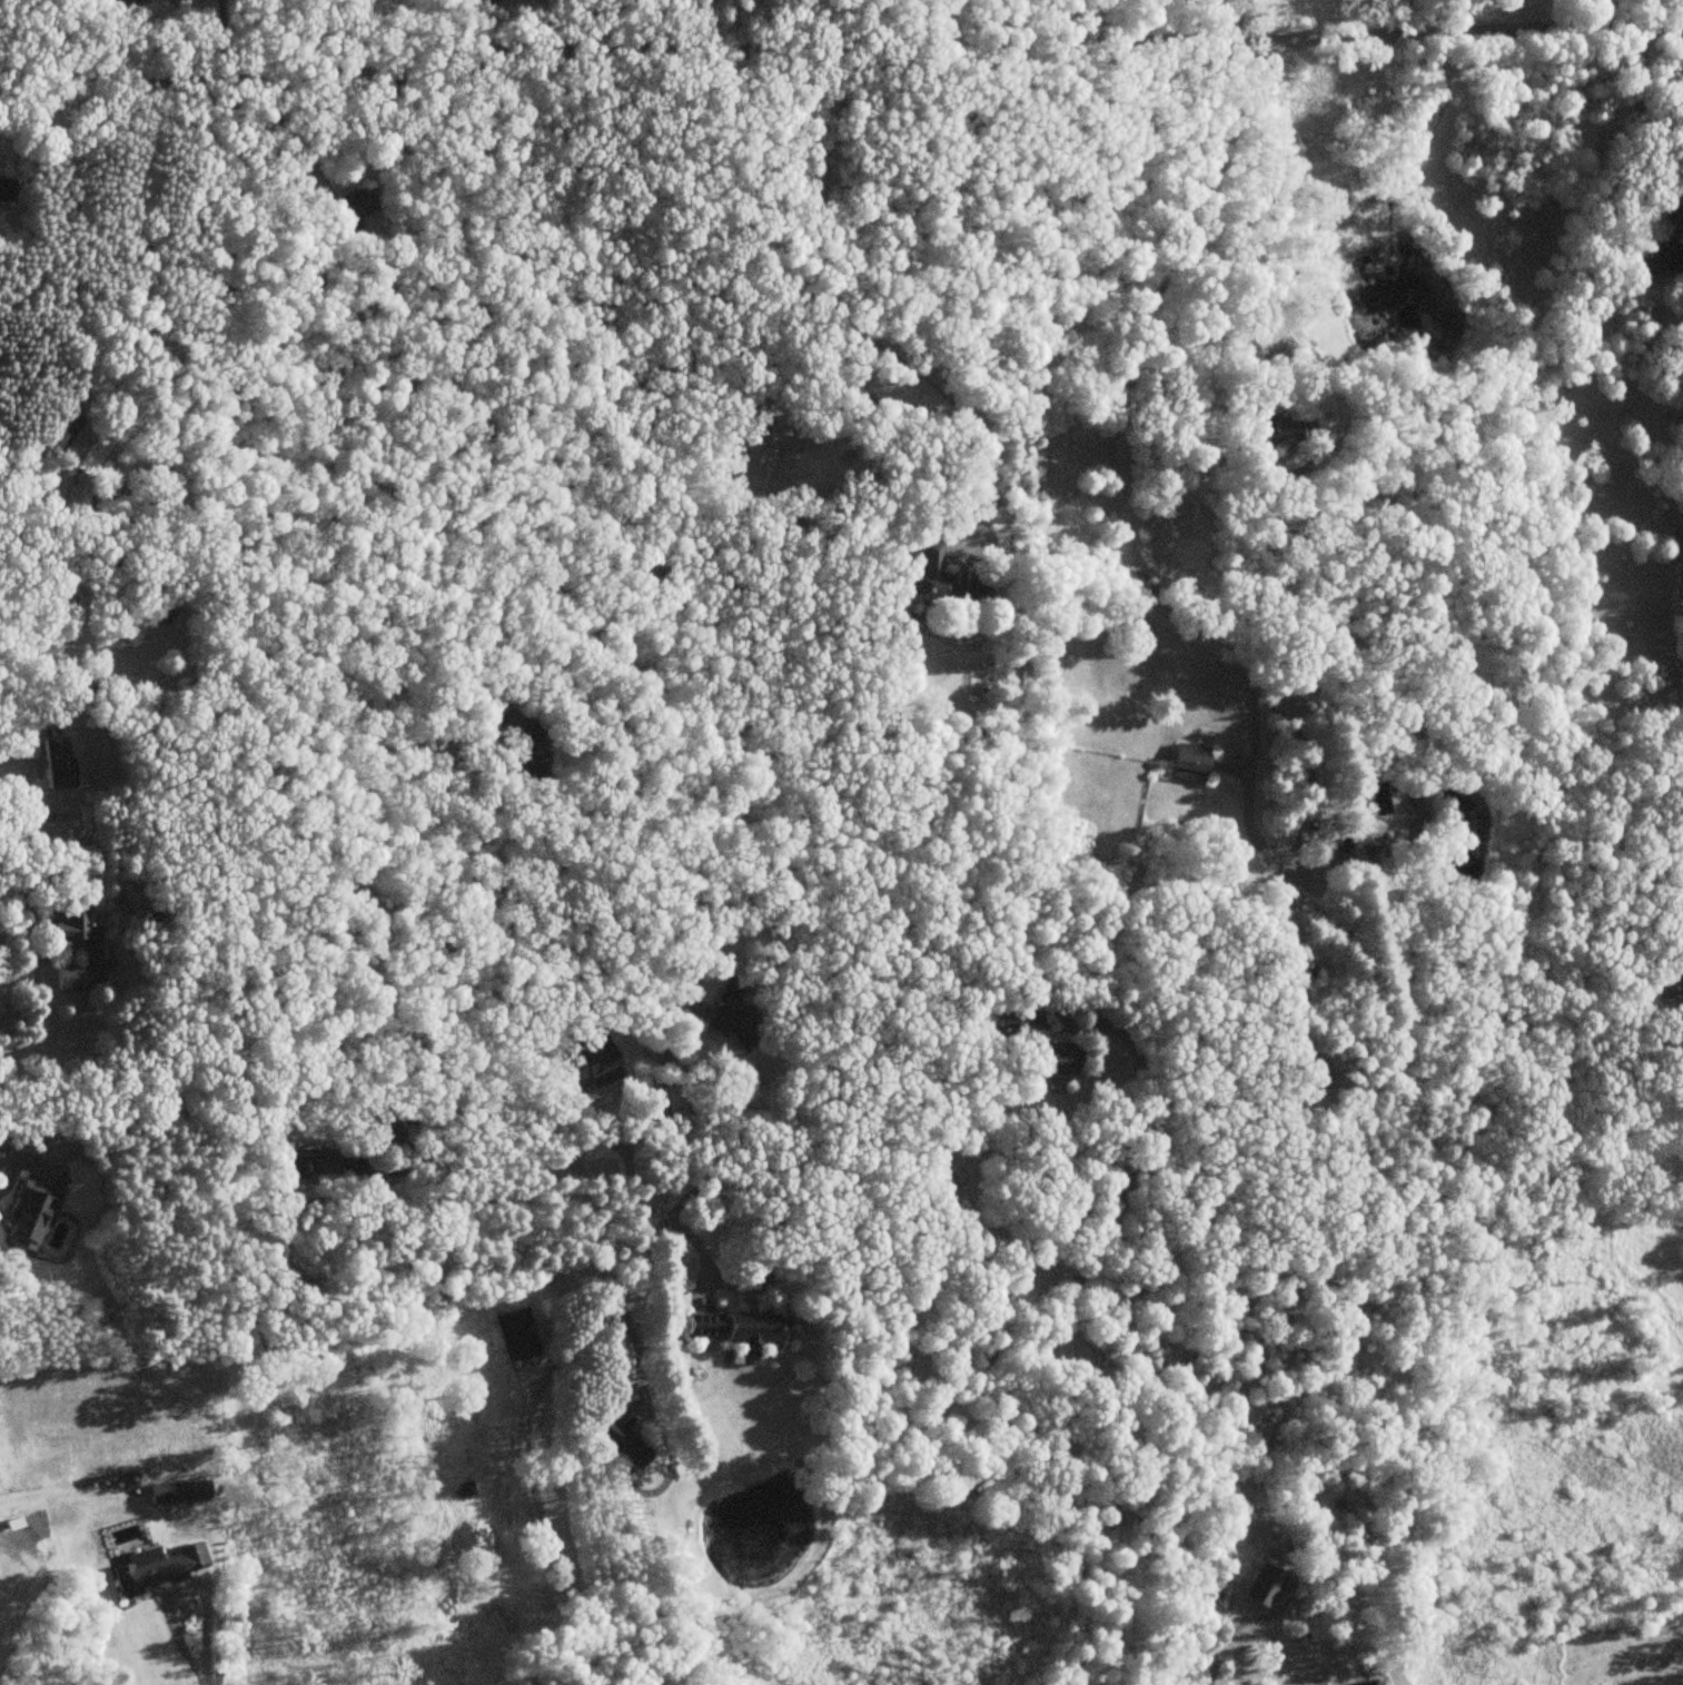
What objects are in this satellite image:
building: (122, 3)
road: (1204, 6)
road: (1218, 6)
road: (1237, 11)
road: (1647, 13)
road: (711, 24)
road: (1230, 28)
road: (938, 29)
road: (840, 63)
building: (356, 204)
building: (1659, 247)
road: (1278, 251)
road: (805, 308)
road: (156, 345)
building: (1269, 434)
building: (81, 463)
road: (1122, 485)
road: (226, 500)
building: (942, 581)
building: (82, 609)
building: (171, 615)
road: (40, 662)
building: (512, 722)
road: (1300, 739)
building: (533, 753)
building: (55, 762)
building: (1189, 762)
building: (1362, 839)
road: (2, 890)
building: (73, 951)
building: (1311, 973)
building: (1679, 987)
building: (735, 1012)
building: (1045, 1051)
road: (664, 1121)
road: (541, 1147)
building: (305, 1162)
building: (28, 1216)
road: (788, 1240)
building: (733, 1328)
road: (1065, 1334)
building: (621, 1441)
road: (529, 1449)
building: (158, 1567)
building: (1261, 1586)
road: (199, 1662)
road: (1295, 1682)
building: (1368, 1683)

